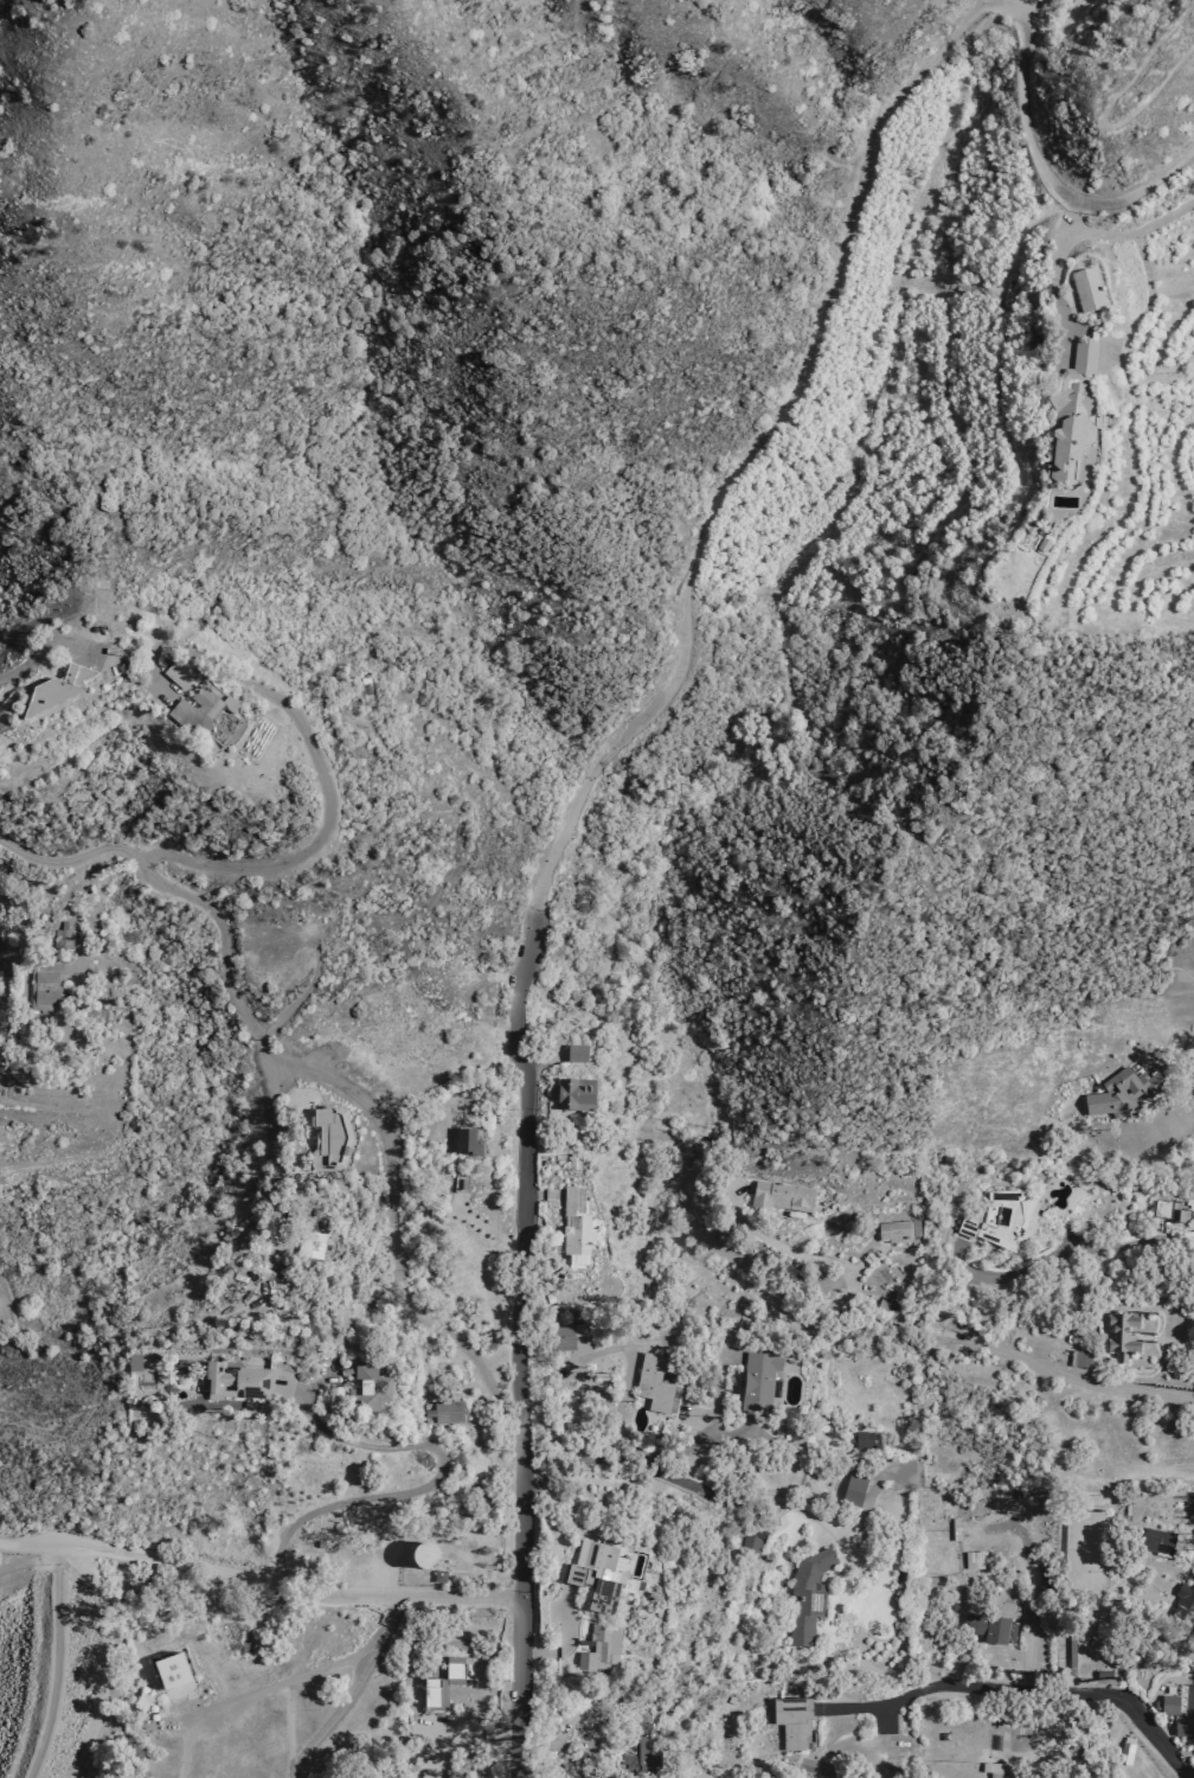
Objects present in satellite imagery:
road: (1027, 8)
road: (1105, 109)
road: (1072, 217)
road: (1116, 237)
building: (1085, 292)
road: (834, 295)
building: (1070, 415)
crop: (1141, 471)
building: (1053, 518)
building: (1029, 529)
building: (1040, 545)
road: (28, 663)
building: (178, 676)
building: (367, 690)
building: (56, 691)
building: (194, 714)
road: (287, 868)
road: (5, 904)
building: (63, 934)
building: (44, 986)
building: (574, 1056)
road: (543, 1060)
road: (1171, 1066)
road: (553, 1076)
road: (277, 1080)
building: (1121, 1091)
building: (572, 1096)
road: (379, 1121)
building: (329, 1132)
building: (467, 1143)
building: (458, 1184)
road: (544, 1195)
building: (779, 1195)
building: (1170, 1208)
building: (997, 1217)
building: (573, 1224)
road: (486, 1226)
building: (918, 1228)
building: (898, 1230)
building: (309, 1239)
road: (775, 1243)
road: (1058, 1256)
road: (846, 1298)
road: (739, 1330)
building: (1119, 1333)
building: (572, 1338)
road: (1163, 1338)
road: (521, 1352)
building: (1078, 1357)
building: (133, 1360)
building: (140, 1363)
building: (236, 1381)
building: (653, 1381)
building: (757, 1382)
road: (1083, 1383)
building: (366, 1386)
building: (340, 1398)
building: (439, 1409)
building: (862, 1440)
road: (695, 1444)
road: (430, 1482)
road: (681, 1483)
building: (850, 1492)
building: (1155, 1539)
building: (747, 1547)
building: (423, 1552)
storage tank: (423, 1552)
building: (435, 1555)
building: (978, 1560)
road: (27, 1562)
road: (0, 1571)
building: (593, 1573)
building: (437, 1575)
road: (261, 1578)
building: (1044, 1578)
road: (660, 1582)
building: (805, 1597)
building: (1183, 1604)
building: (987, 1627)
road: (566, 1639)
building: (598, 1646)
road: (1027, 1650)
road: (104, 1659)
road: (56, 1662)
building: (172, 1671)
dam: (46, 1673)
building: (447, 1684)
road: (1068, 1689)
road: (353, 1693)
building: (1167, 1703)
road: (867, 1708)
building: (1186, 1714)
building: (791, 1719)
road: (1049, 1737)
road: (592, 1742)
building: (635, 1751)
building: (1124, 1752)
building: (996, 1770)
building: (460, 1777)

